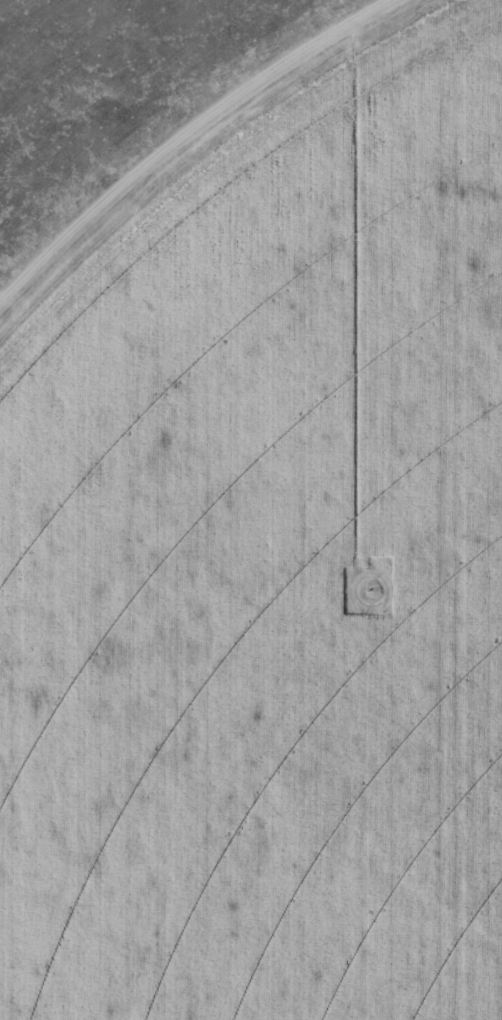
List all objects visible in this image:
crop: (268, 580)

